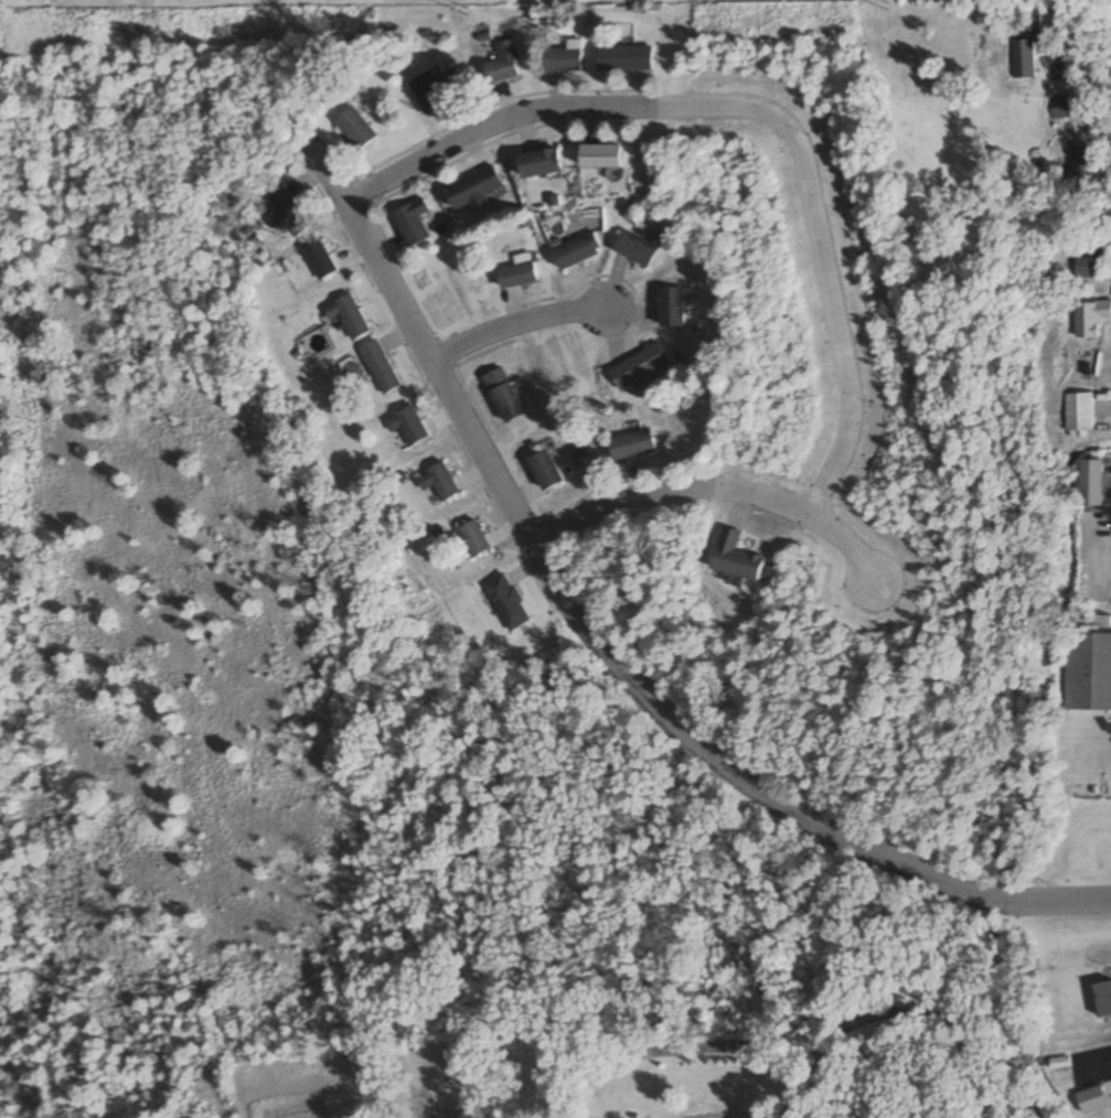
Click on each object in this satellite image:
building: (563, 58)
building: (623, 60)
building: (1023, 61)
building: (504, 65)
building: (434, 90)
building: (1059, 108)
road: (755, 110)
building: (356, 129)
building: (598, 157)
building: (538, 163)
building: (1081, 170)
building: (473, 191)
building: (287, 215)
building: (414, 224)
building: (634, 250)
building: (575, 254)
building: (319, 261)
building: (1088, 267)
building: (516, 275)
building: (670, 309)
building: (348, 318)
building: (1090, 319)
road: (516, 321)
building: (638, 367)
building: (378, 368)
building: (504, 397)
building: (1078, 411)
building: (406, 428)
building: (632, 445)
building: (545, 471)
building: (442, 480)
building: (1092, 482)
road: (715, 490)
building: (473, 537)
building: (736, 556)
building: (506, 602)
building: (1094, 622)
road: (606, 652)
building: (1089, 671)
building: (1089, 777)
building: (1104, 998)
road: (894, 1014)

